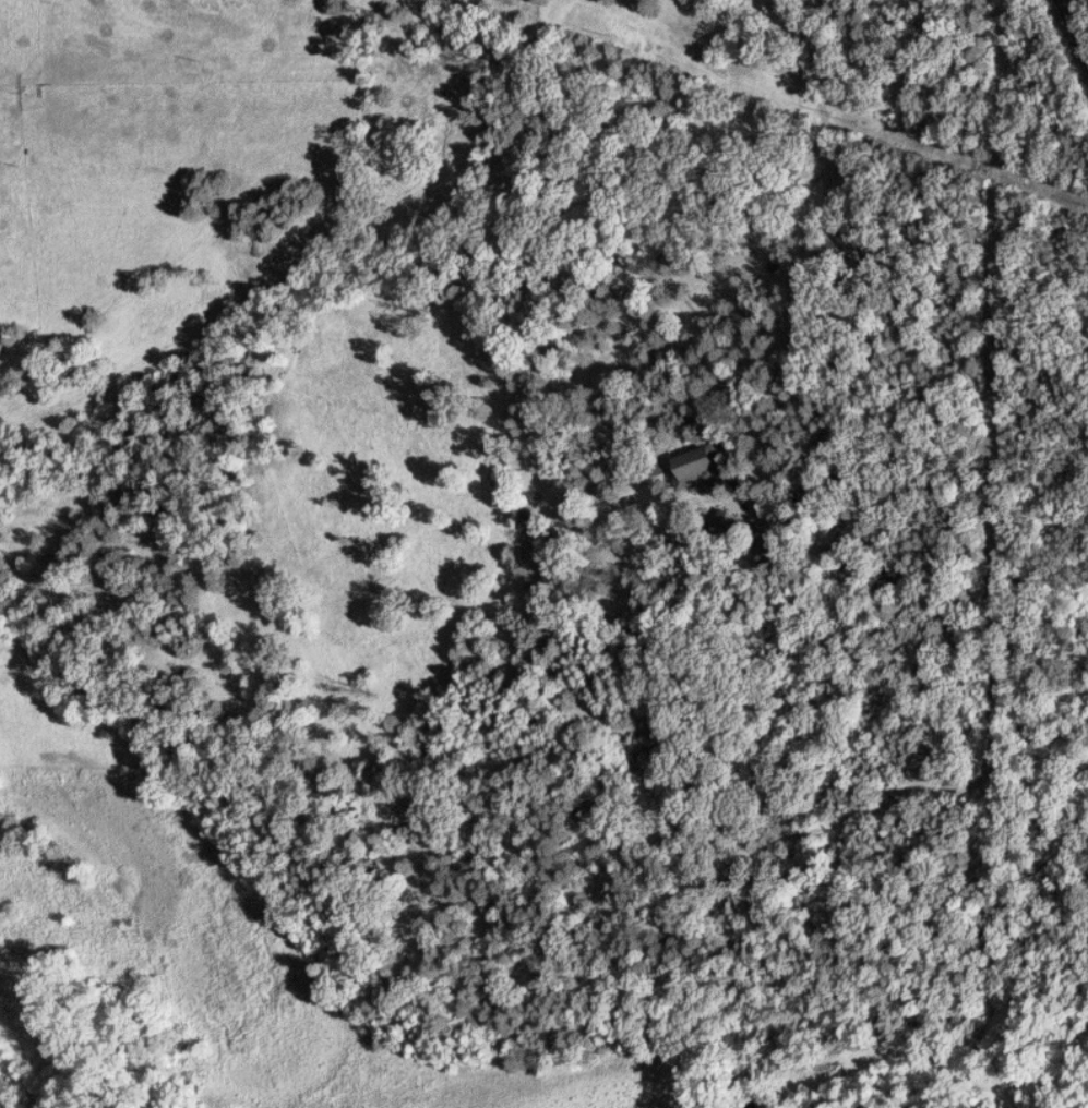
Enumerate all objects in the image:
road: (1074, 34)
road: (326, 131)
road: (825, 140)
building: (703, 465)
road: (792, 537)

